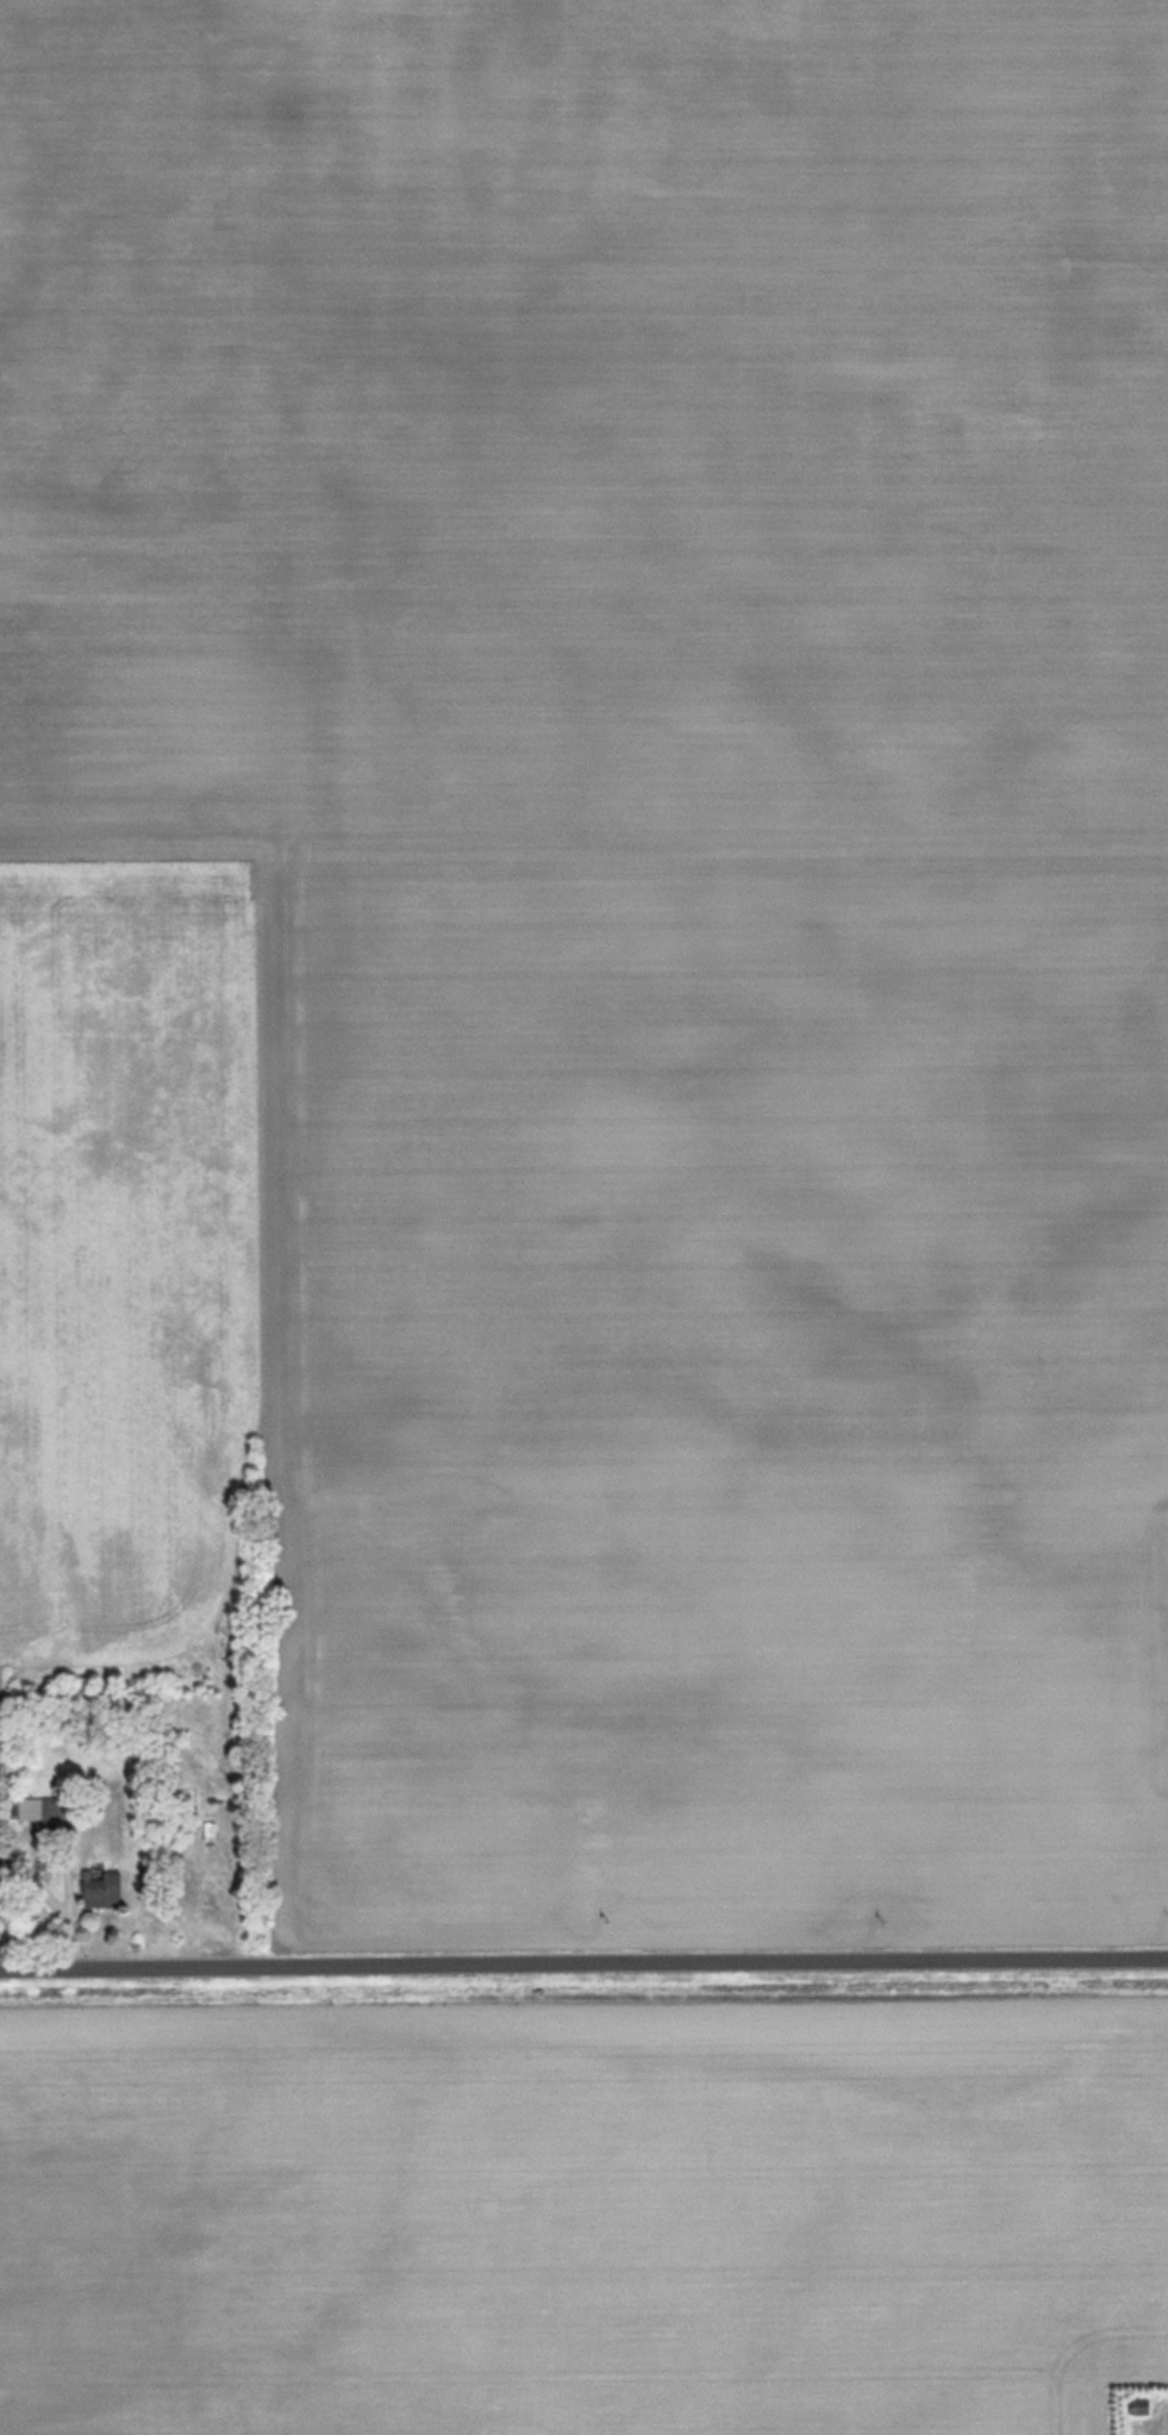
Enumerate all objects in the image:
building: (58, 1815)
building: (102, 1887)
road: (583, 1963)
building: (1139, 2405)

